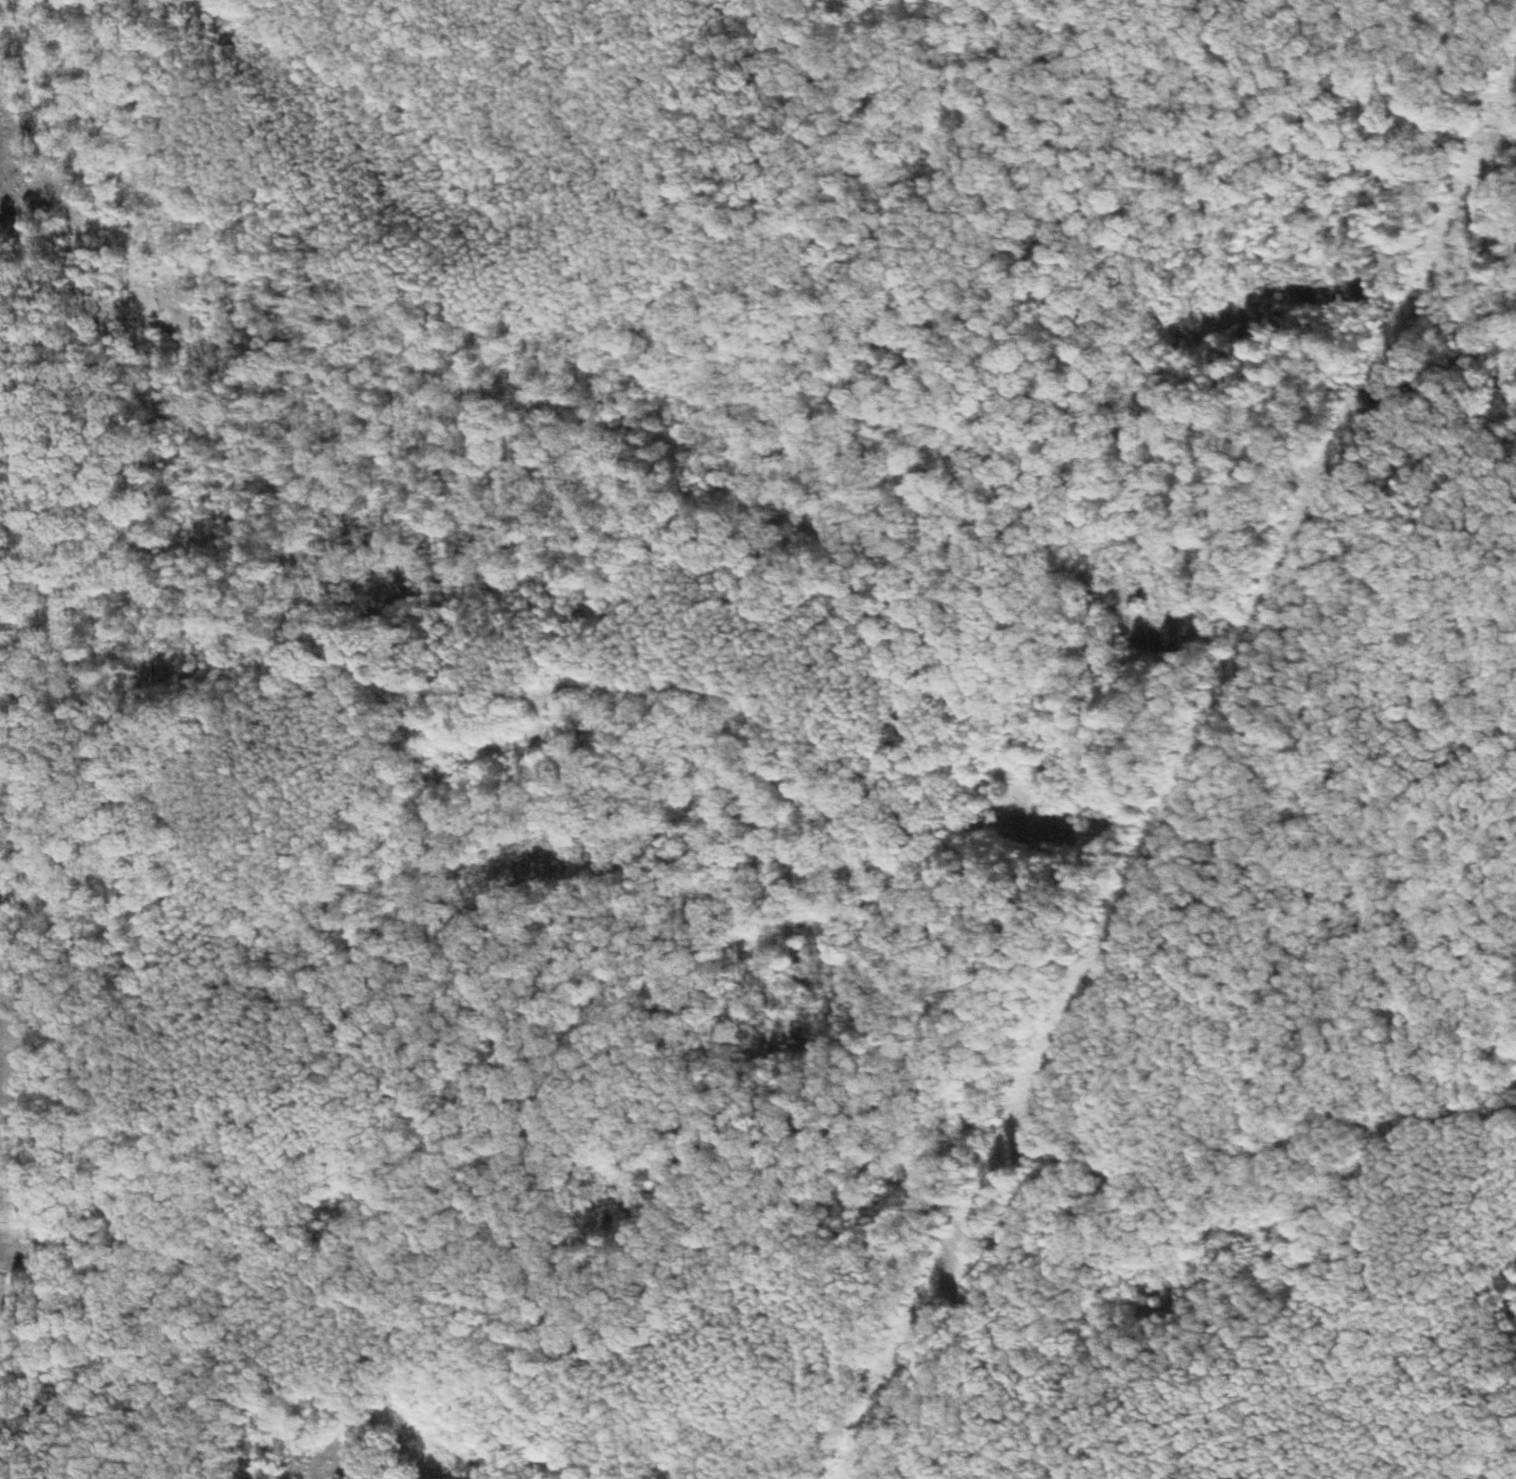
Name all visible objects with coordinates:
road: (1114, 1217)
road: (1384, 1297)

